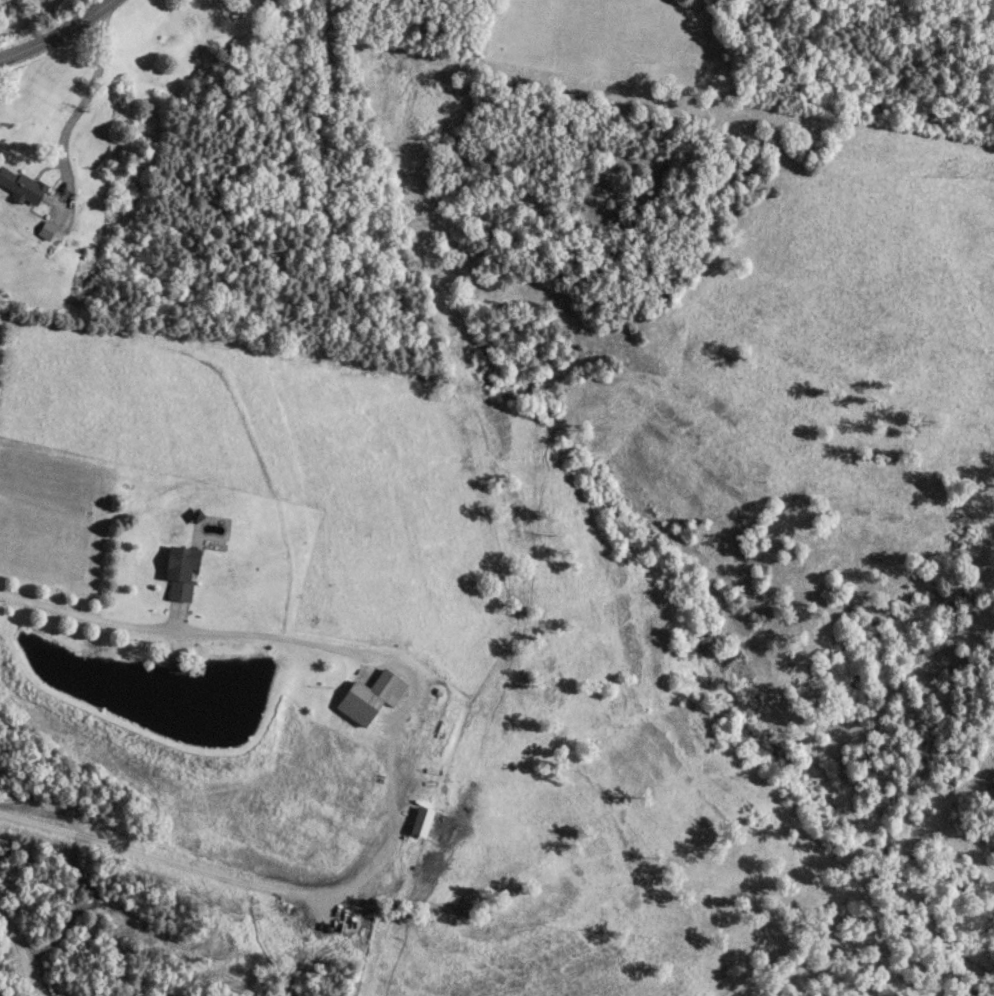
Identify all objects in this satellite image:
road: (56, 32)
road: (78, 106)
building: (21, 184)
building: (46, 229)
building: (181, 571)
building: (175, 666)
building: (370, 695)
road: (392, 758)
road: (25, 953)

